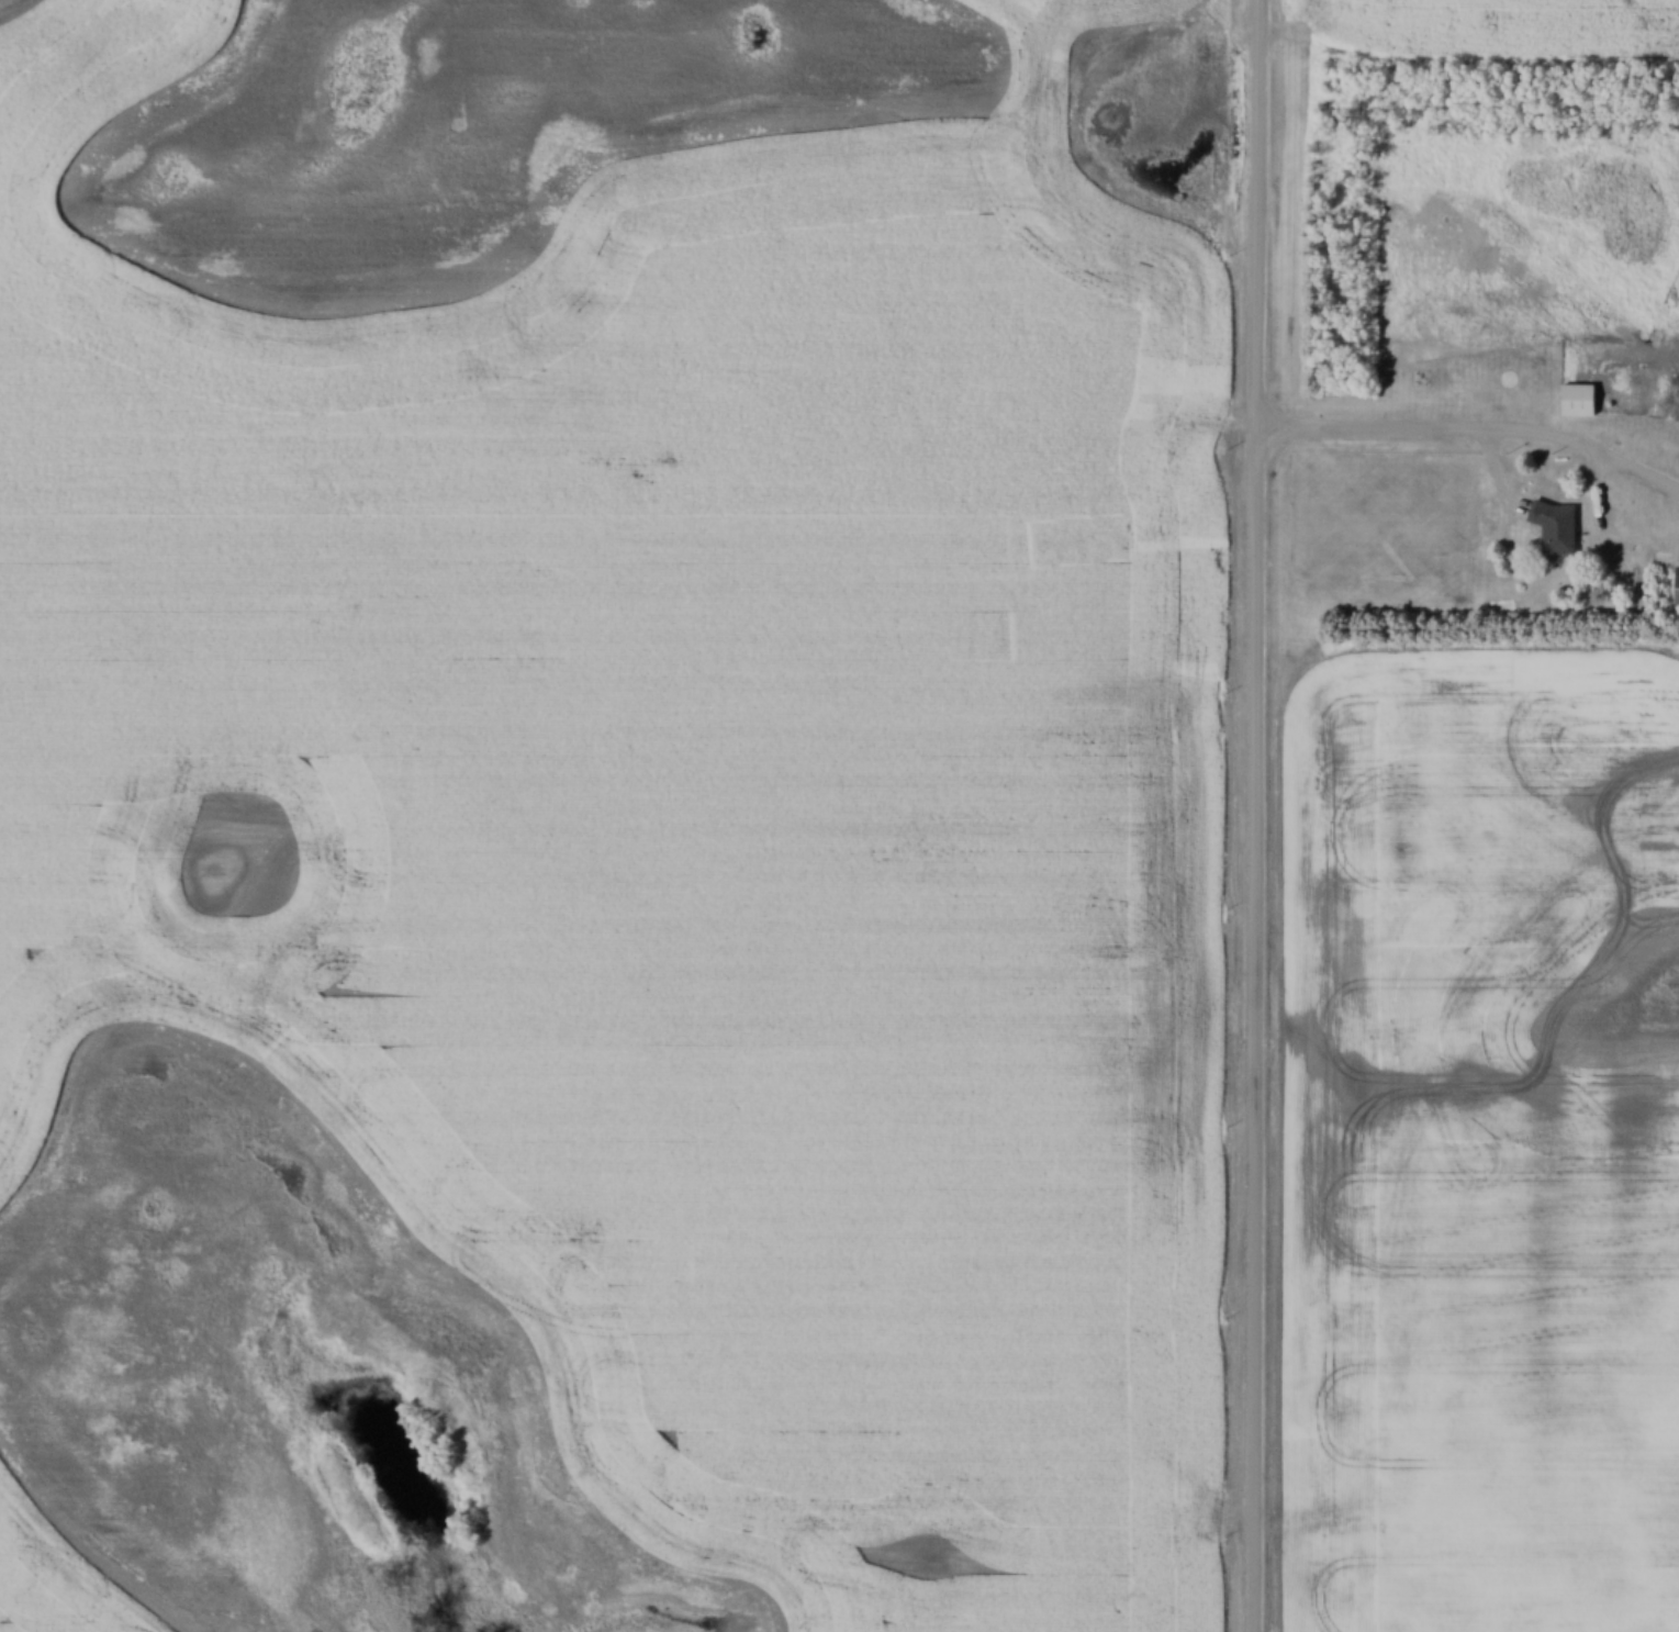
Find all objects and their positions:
building: (1572, 402)
building: (1549, 527)
building: (1672, 589)
road: (1258, 815)

